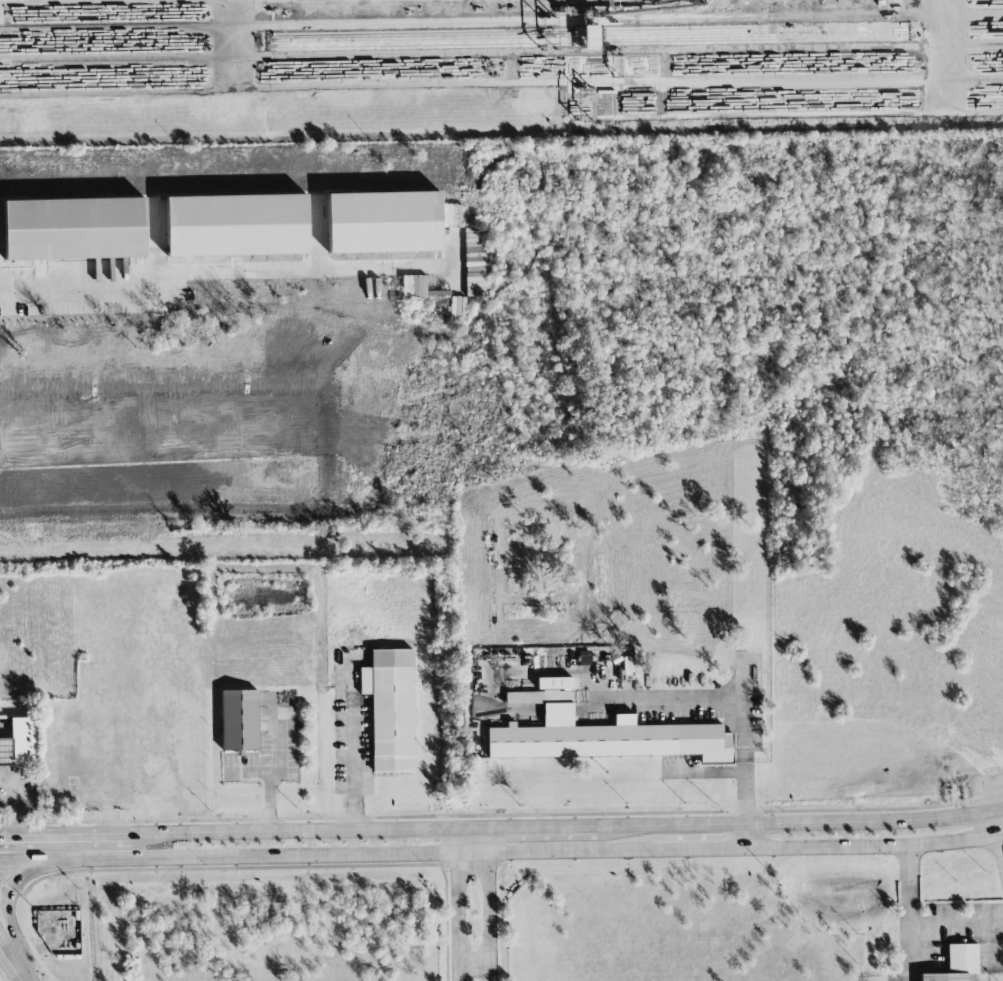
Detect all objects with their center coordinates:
road: (339, 2)
building: (591, 36)
road: (162, 92)
building: (450, 213)
building: (384, 222)
building: (236, 225)
building: (74, 228)
road: (181, 276)
building: (414, 287)
road: (725, 701)
building: (391, 709)
building: (239, 720)
building: (602, 733)
building: (19, 743)
road: (354, 748)
road: (248, 771)
road: (269, 771)
road: (706, 772)
road: (992, 794)
road: (20, 799)
road: (999, 809)
road: (501, 814)
road: (796, 822)
road: (997, 823)
road: (544, 824)
road: (474, 825)
road: (289, 827)
road: (60, 829)
road: (744, 837)
road: (1001, 843)
road: (501, 854)
road: (11, 887)
road: (458, 903)
road: (491, 903)
road: (7, 911)
road: (910, 913)
road: (957, 923)
road: (11, 962)
building: (957, 963)
road: (475, 965)

